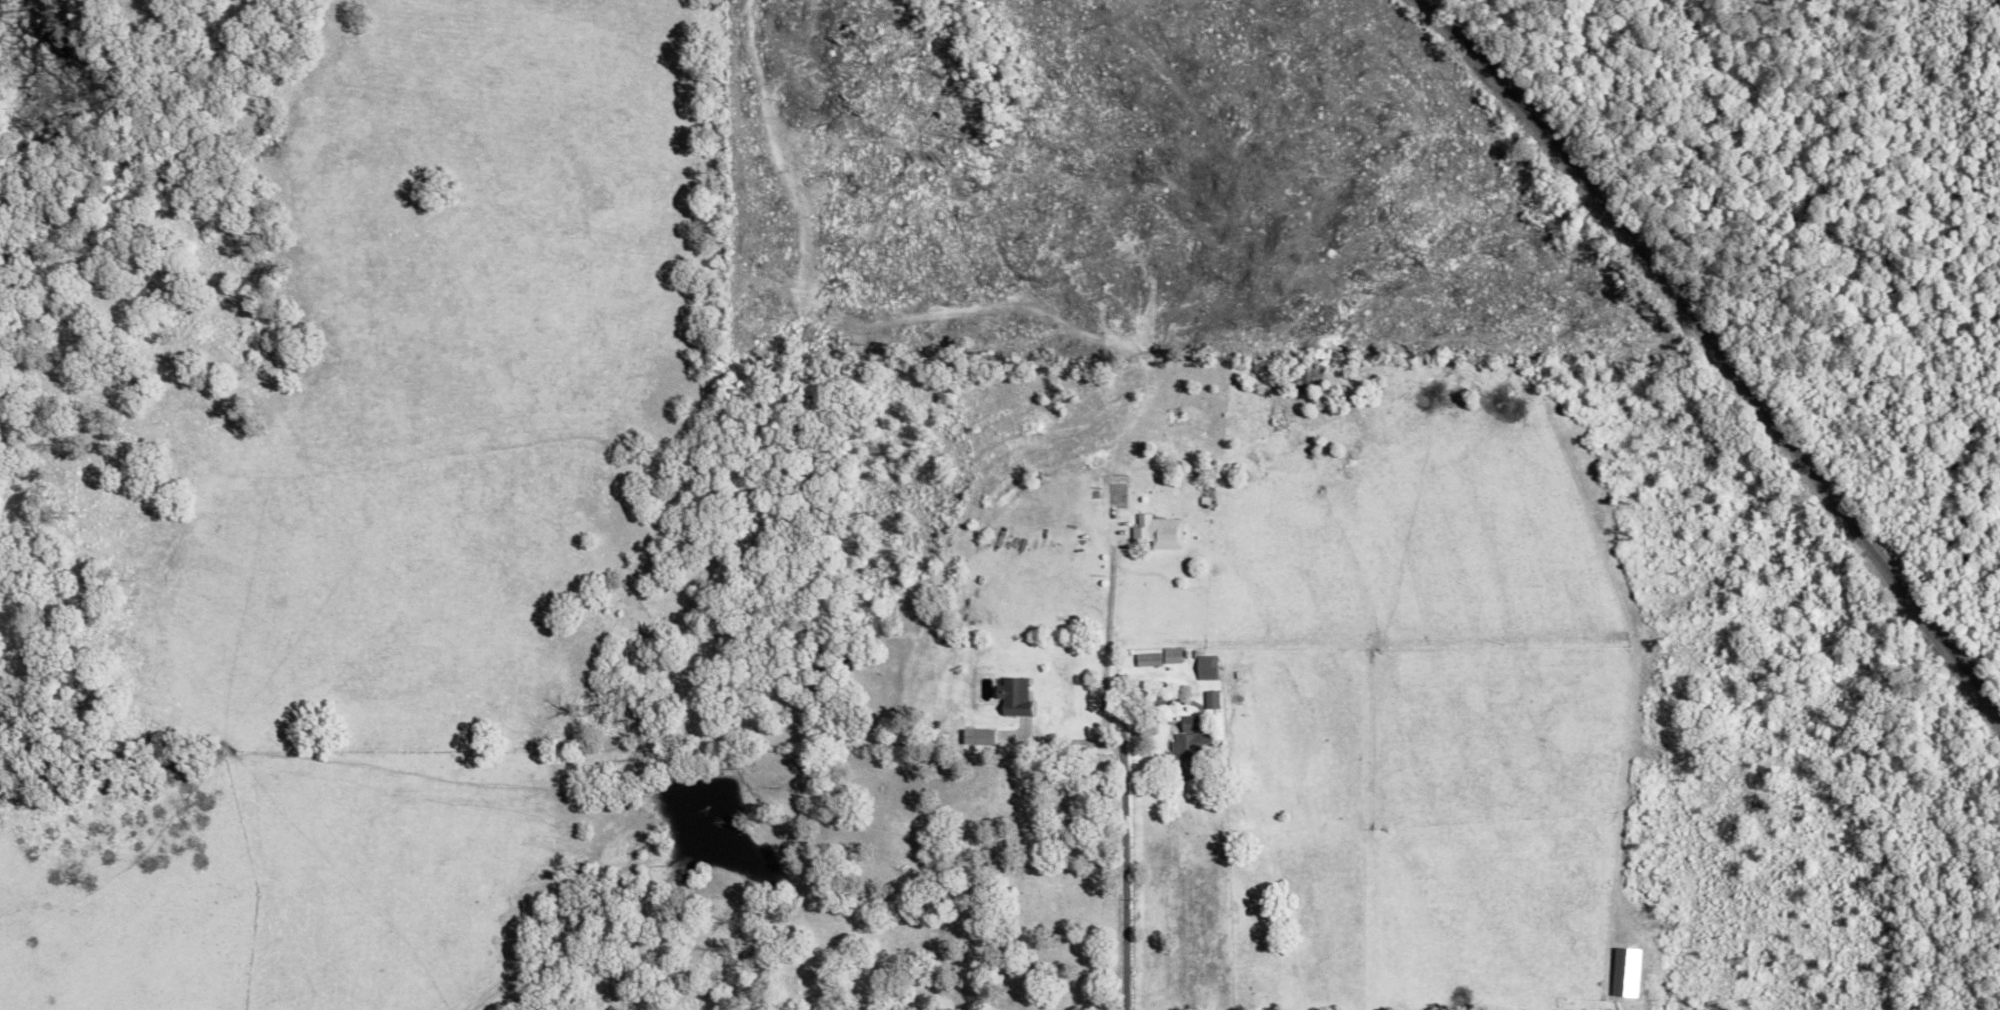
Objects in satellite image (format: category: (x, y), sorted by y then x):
railway: (1714, 352)
building: (1156, 531)
road: (1104, 638)
building: (1169, 655)
building: (1145, 659)
building: (1204, 667)
building: (1012, 696)
building: (1209, 699)
building: (977, 736)
road: (1058, 740)
building: (1185, 747)
road: (1124, 871)

